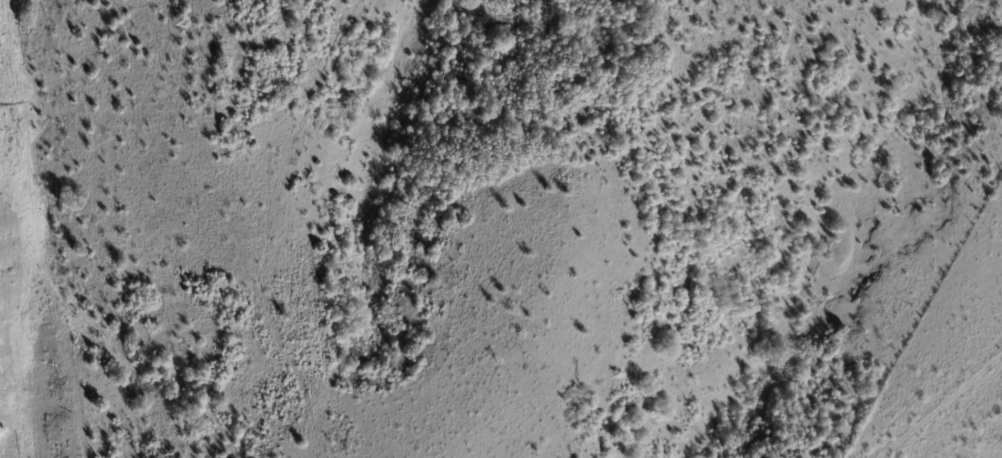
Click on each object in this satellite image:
road: (939, 405)

